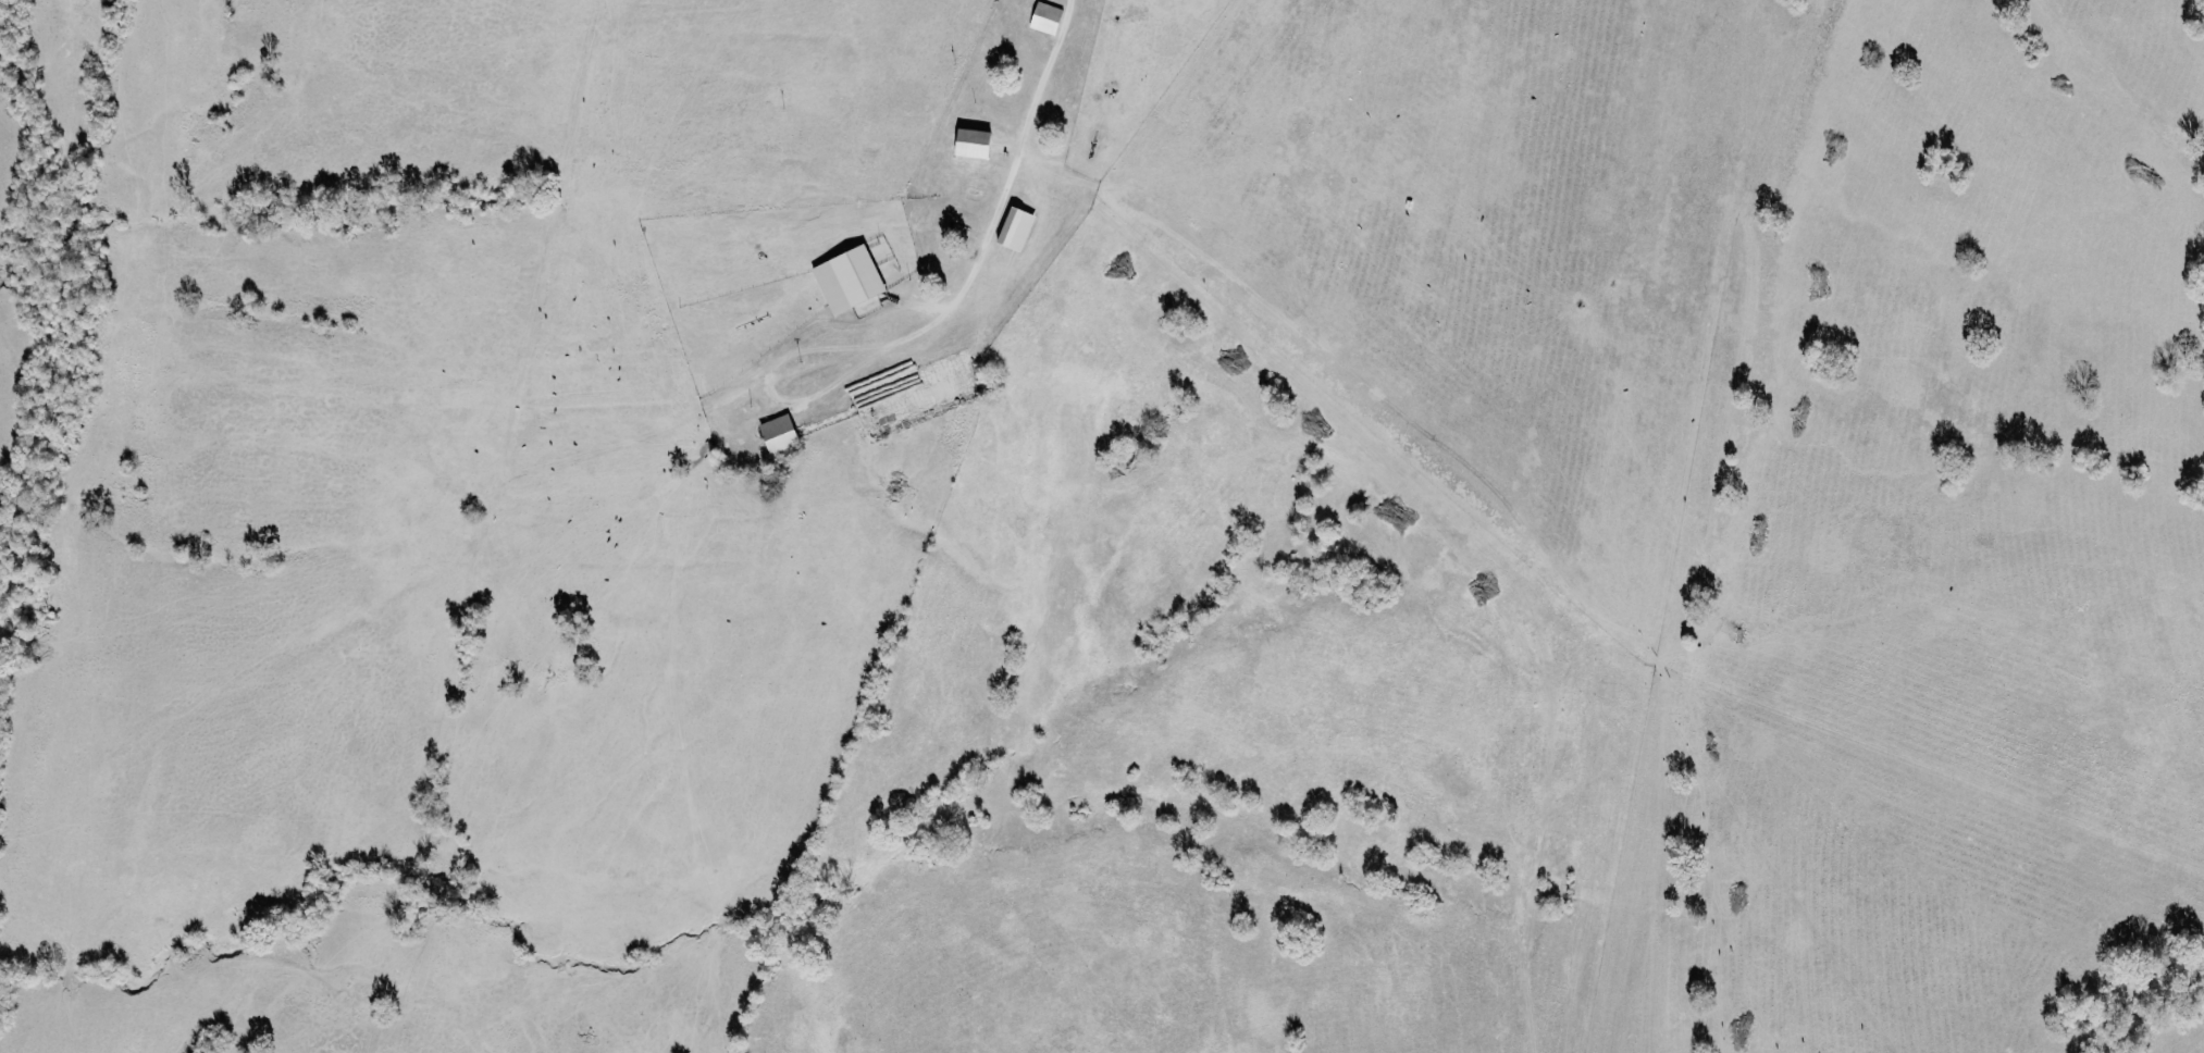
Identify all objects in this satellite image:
building: (1051, 17)
building: (980, 143)
road: (1001, 195)
building: (1021, 228)
building: (854, 278)
road: (765, 384)
building: (784, 433)

